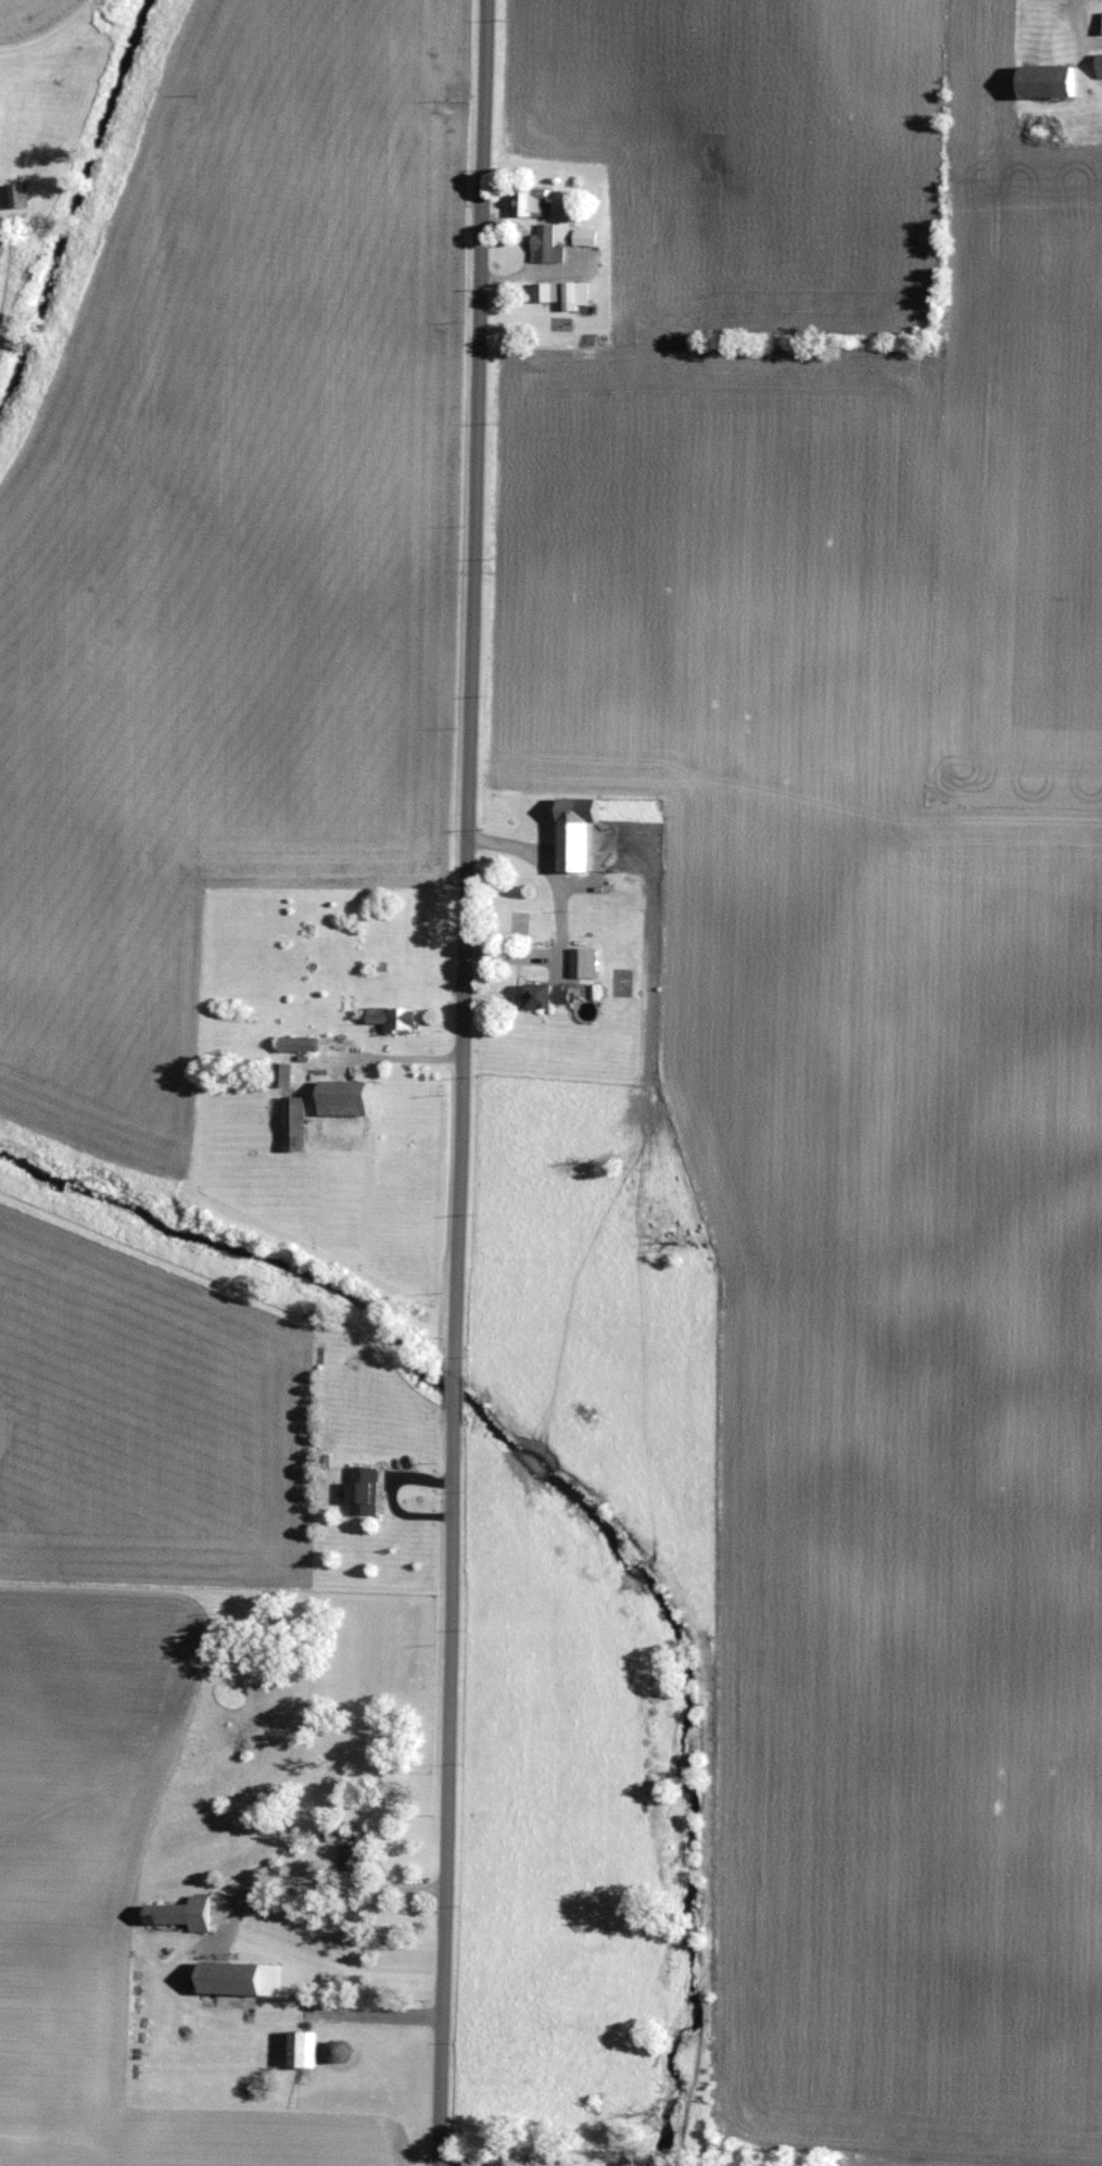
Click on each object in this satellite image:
building: (1100, 63)
building: (1053, 80)
building: (533, 200)
building: (585, 234)
building: (546, 241)
building: (566, 290)
building: (584, 829)
road: (559, 902)
building: (584, 959)
building: (597, 988)
building: (554, 993)
building: (400, 1017)
building: (302, 1042)
road: (397, 1051)
building: (284, 1071)
road: (460, 1082)
building: (350, 1096)
building: (299, 1120)
building: (368, 1488)
building: (355, 1855)
road: (313, 1879)
building: (187, 1912)
building: (249, 1977)
road: (376, 2008)
building: (309, 2048)

